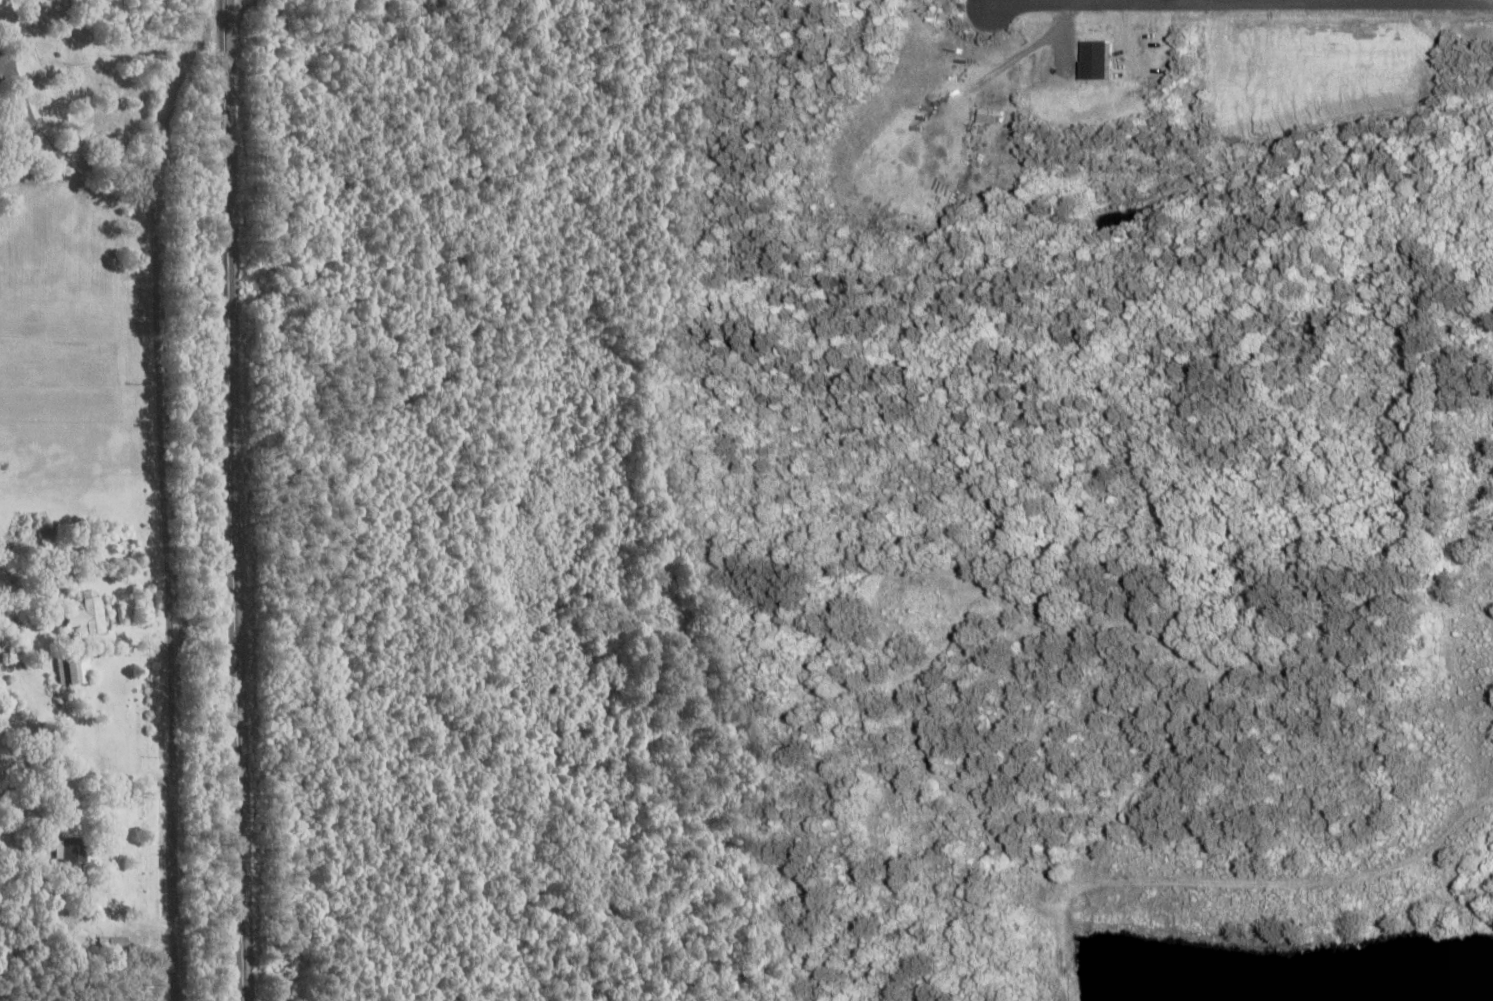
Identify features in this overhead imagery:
building: (1089, 59)
building: (985, 115)
railway: (231, 500)
road: (158, 528)
building: (85, 612)
building: (70, 670)
building: (73, 848)
building: (115, 944)

